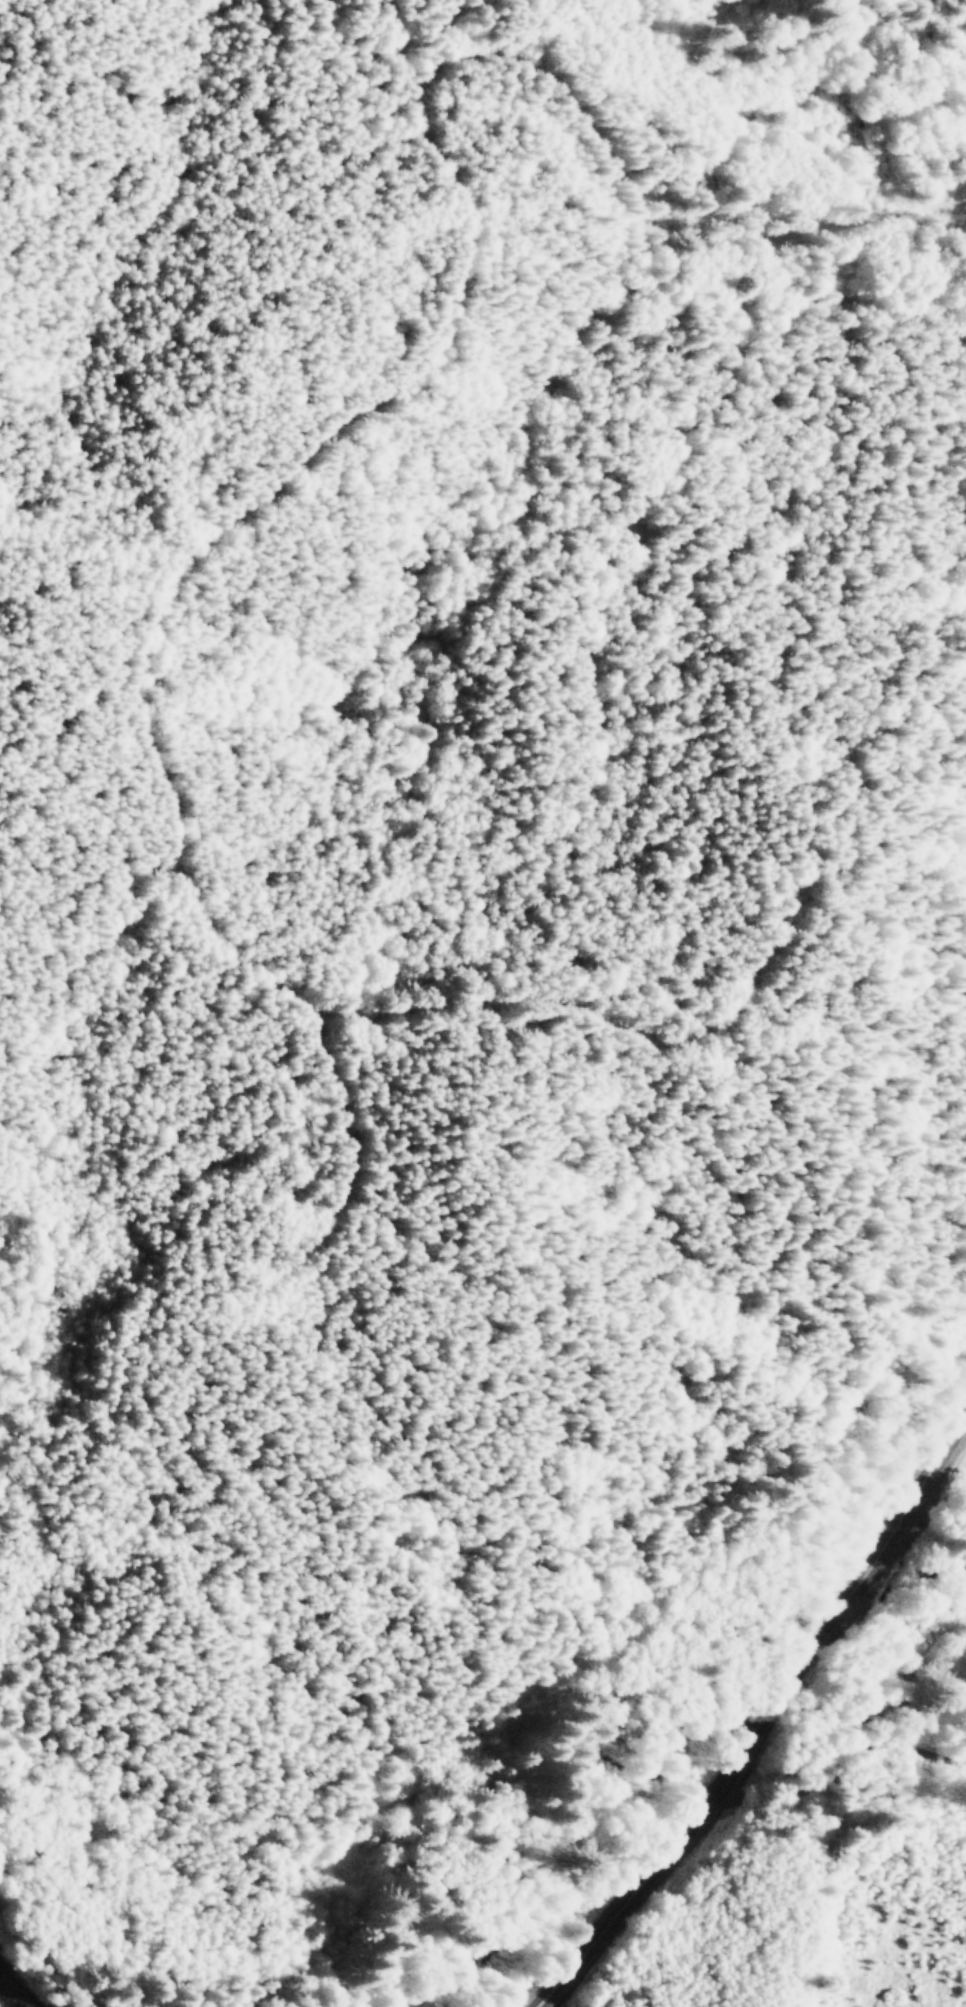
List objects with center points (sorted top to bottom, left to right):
road: (348, 425)
road: (774, 1735)
road: (12, 1992)

